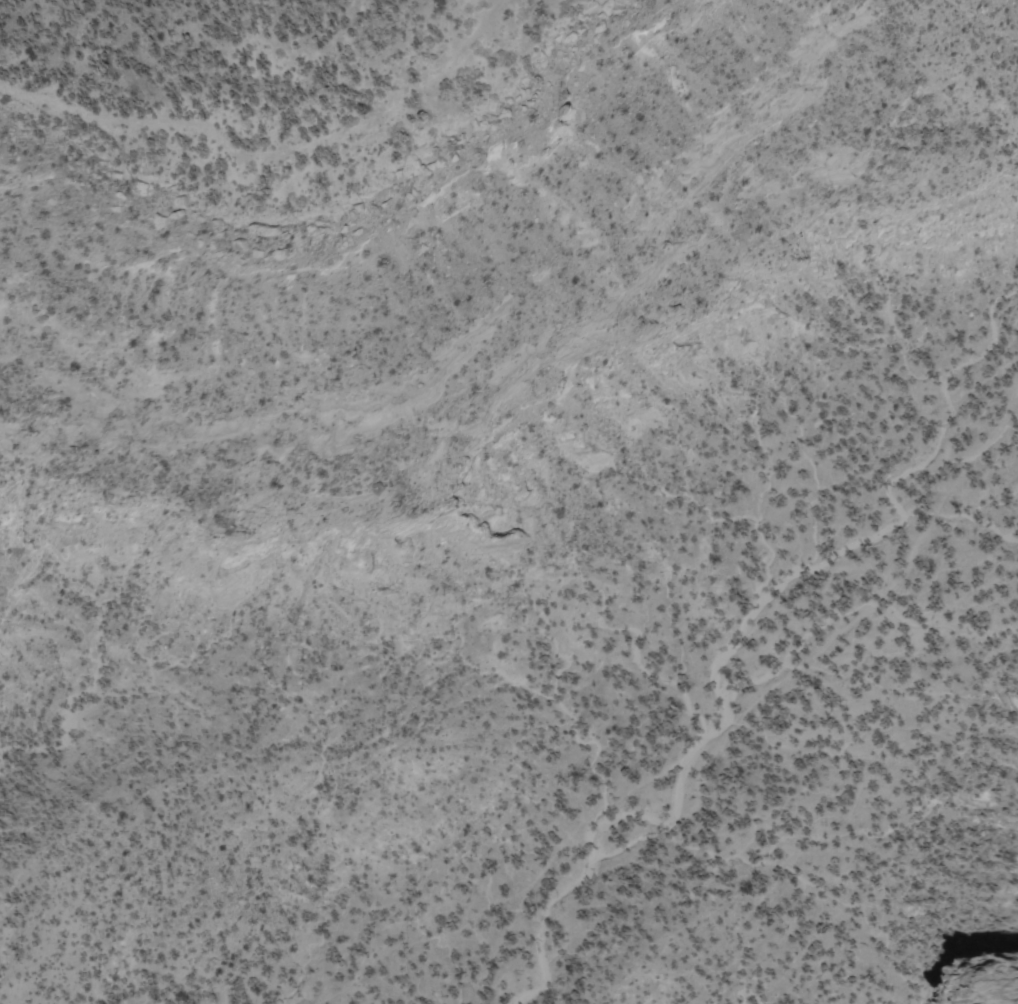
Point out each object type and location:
road: (818, 662)

